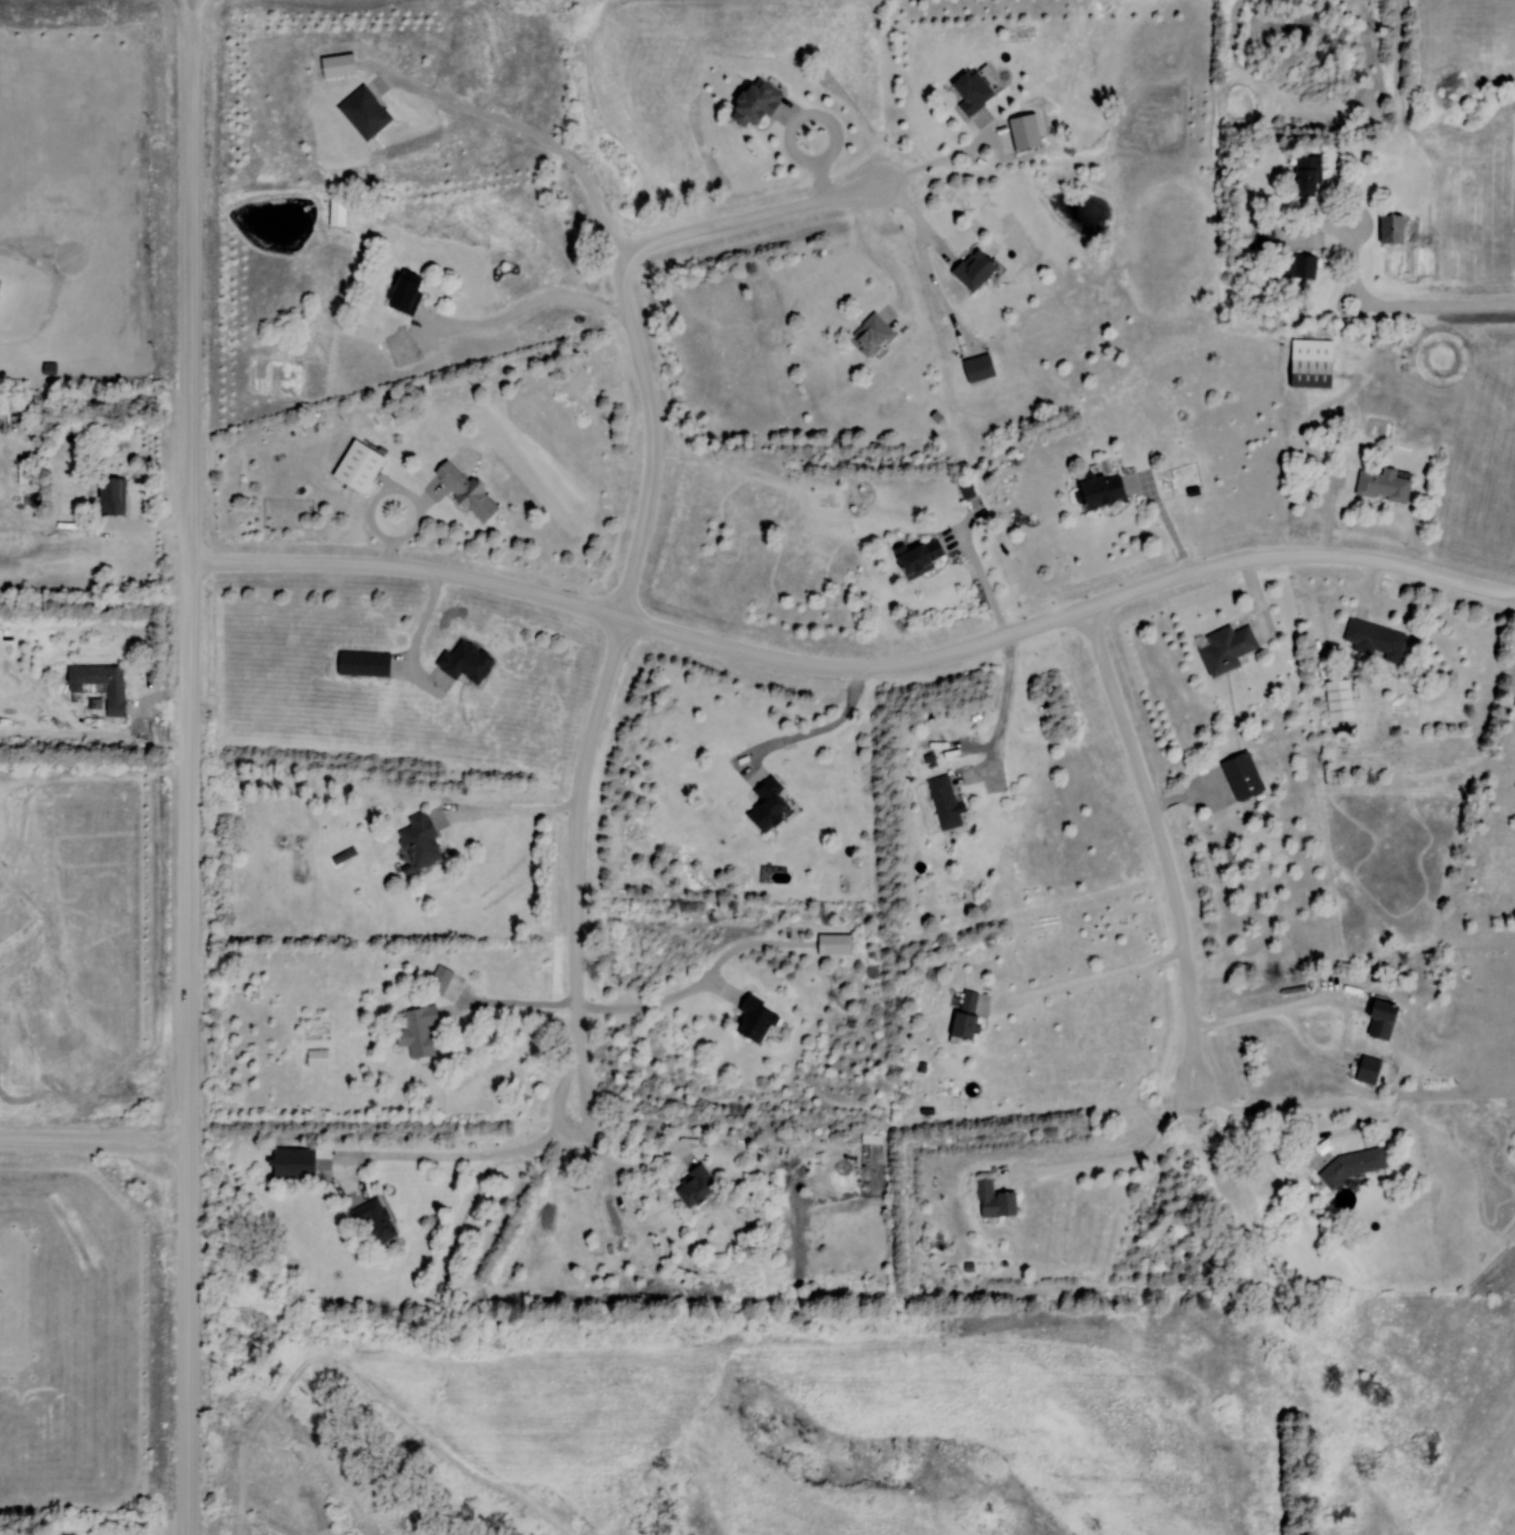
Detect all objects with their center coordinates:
building: (336, 64)
building: (970, 89)
building: (751, 101)
building: (362, 111)
road: (820, 118)
road: (528, 131)
road: (941, 161)
building: (1305, 174)
road: (190, 199)
building: (335, 210)
road: (1354, 211)
road: (754, 217)
road: (921, 221)
building: (1389, 228)
building: (1264, 233)
road: (875, 253)
building: (1298, 266)
building: (971, 268)
building: (402, 290)
road: (532, 304)
road: (1414, 307)
building: (869, 335)
building: (399, 343)
building: (1309, 362)
building: (977, 367)
road: (660, 431)
building: (21, 433)
building: (356, 466)
building: (1382, 484)
building: (458, 488)
building: (1099, 488)
building: (966, 490)
building: (110, 495)
road: (1167, 519)
building: (917, 557)
road: (988, 591)
building: (1373, 640)
building: (1224, 648)
building: (463, 662)
building: (361, 664)
road: (858, 668)
building: (97, 684)
building: (1337, 700)
road: (1008, 705)
road: (818, 730)
building: (1240, 775)
building: (942, 802)
building: (764, 803)
road: (509, 811)
building: (418, 840)
road: (1165, 851)
road: (578, 867)
building: (833, 944)
road: (188, 966)
building: (438, 979)
road: (1090, 980)
road: (1325, 1001)
road: (511, 1004)
road: (655, 1004)
building: (963, 1016)
building: (753, 1019)
building: (1379, 1019)
building: (415, 1030)
building: (1367, 1069)
road: (1315, 1103)
road: (93, 1138)
road: (457, 1157)
road: (1111, 1161)
building: (290, 1163)
building: (1351, 1165)
road: (622, 1168)
building: (693, 1185)
building: (992, 1200)
building: (372, 1219)

